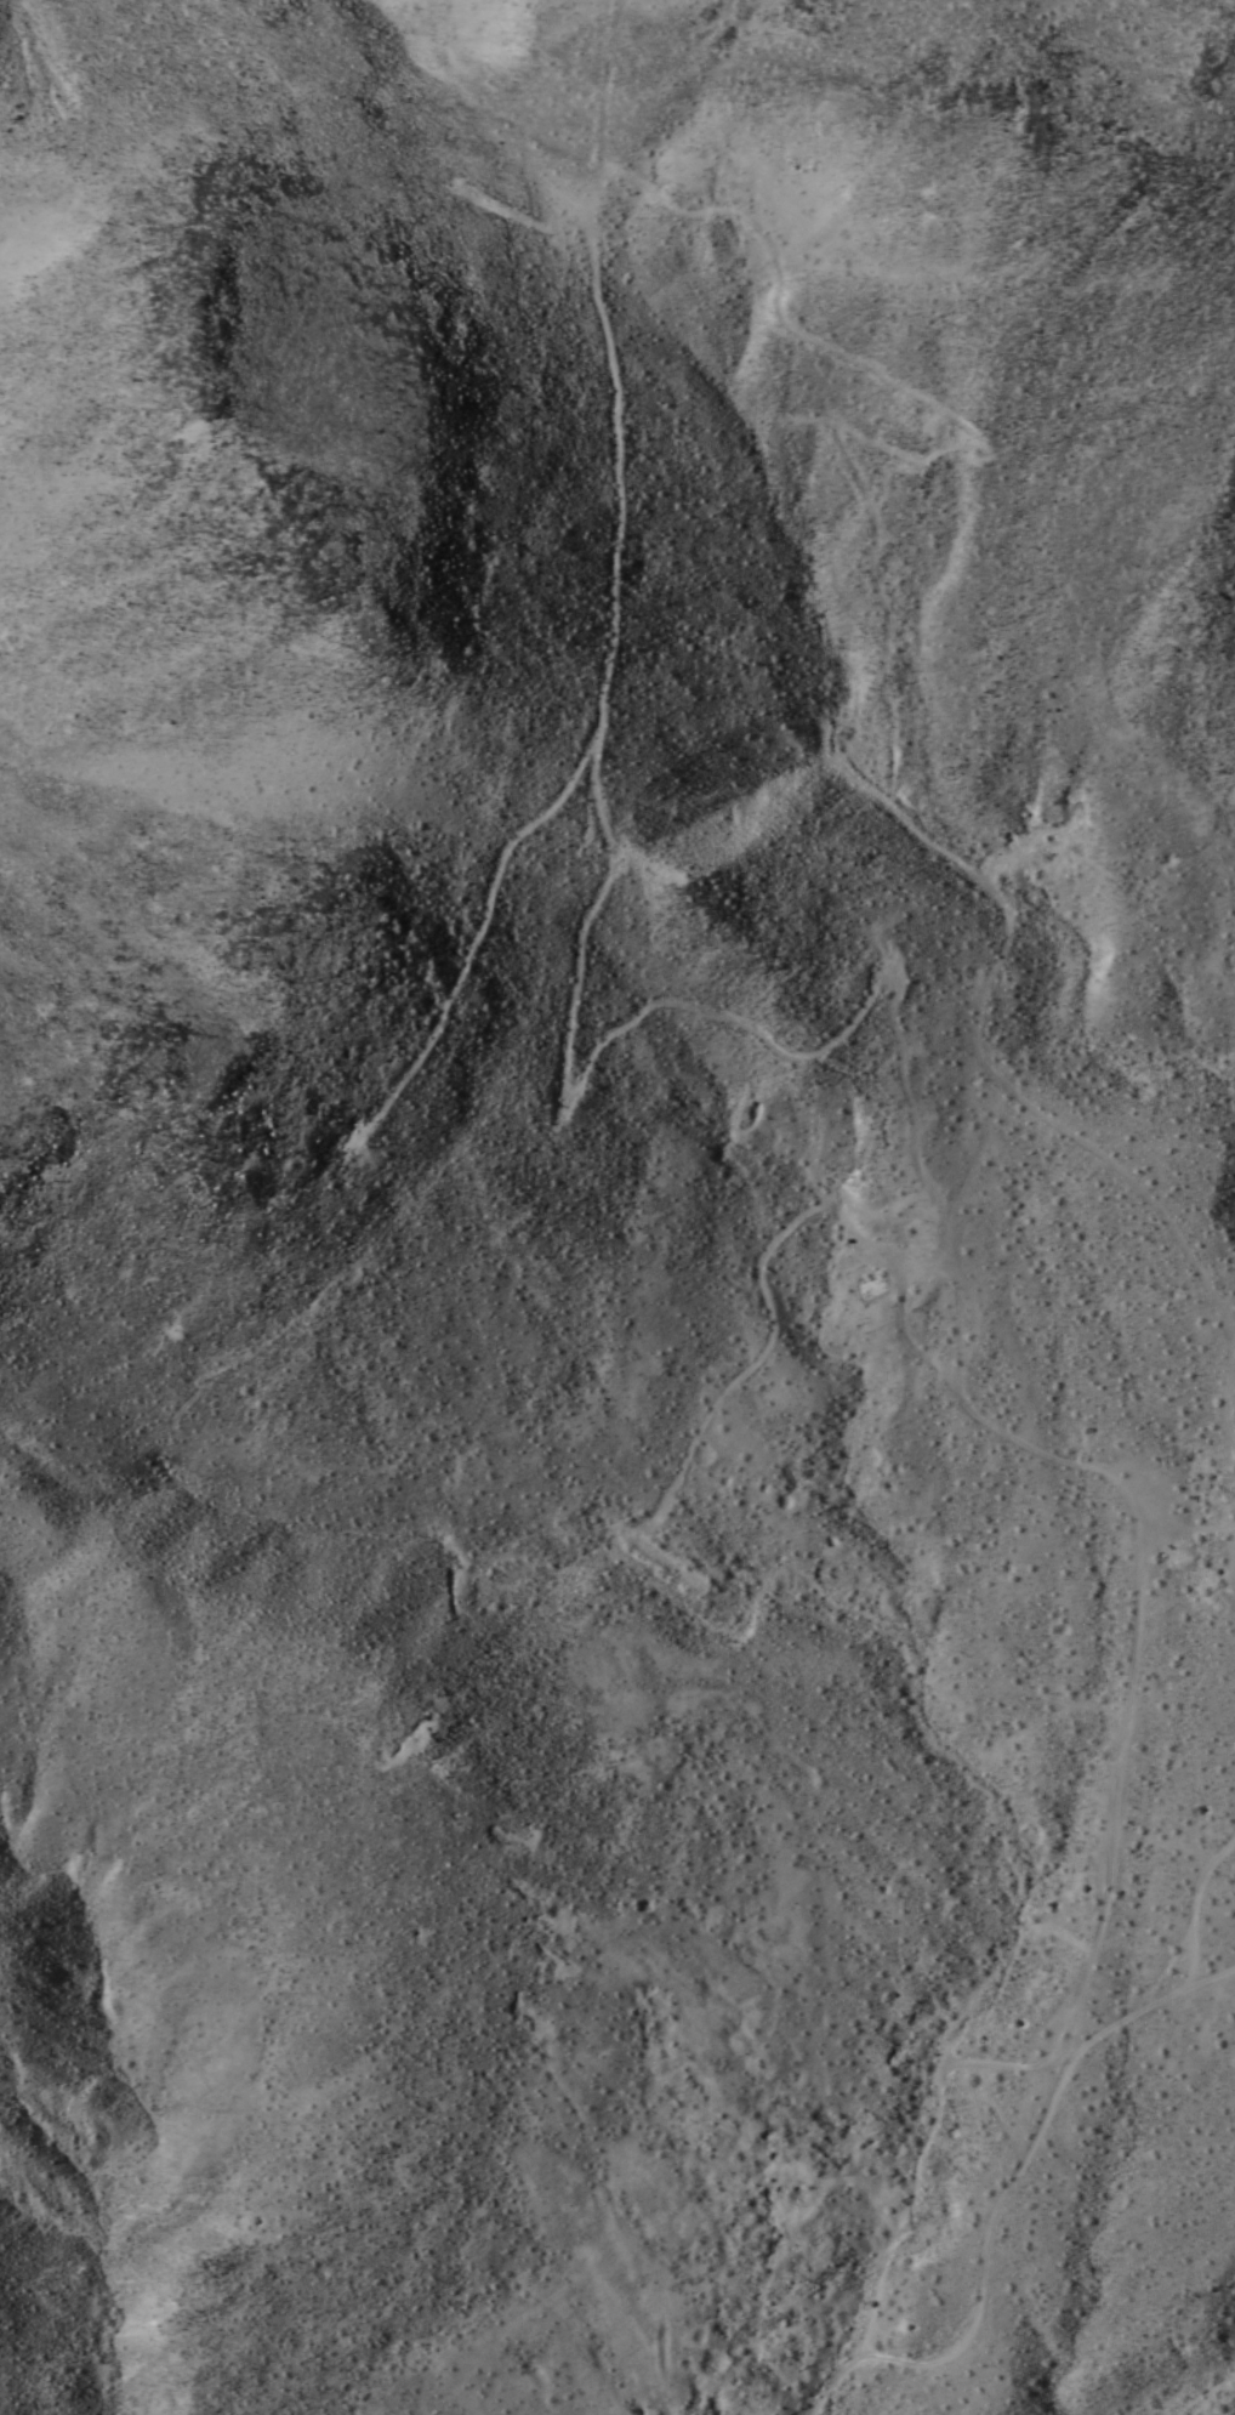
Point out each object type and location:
road: (1000, 907)
building: (870, 1288)
road: (764, 1303)
road: (897, 1317)
road: (1117, 1755)

